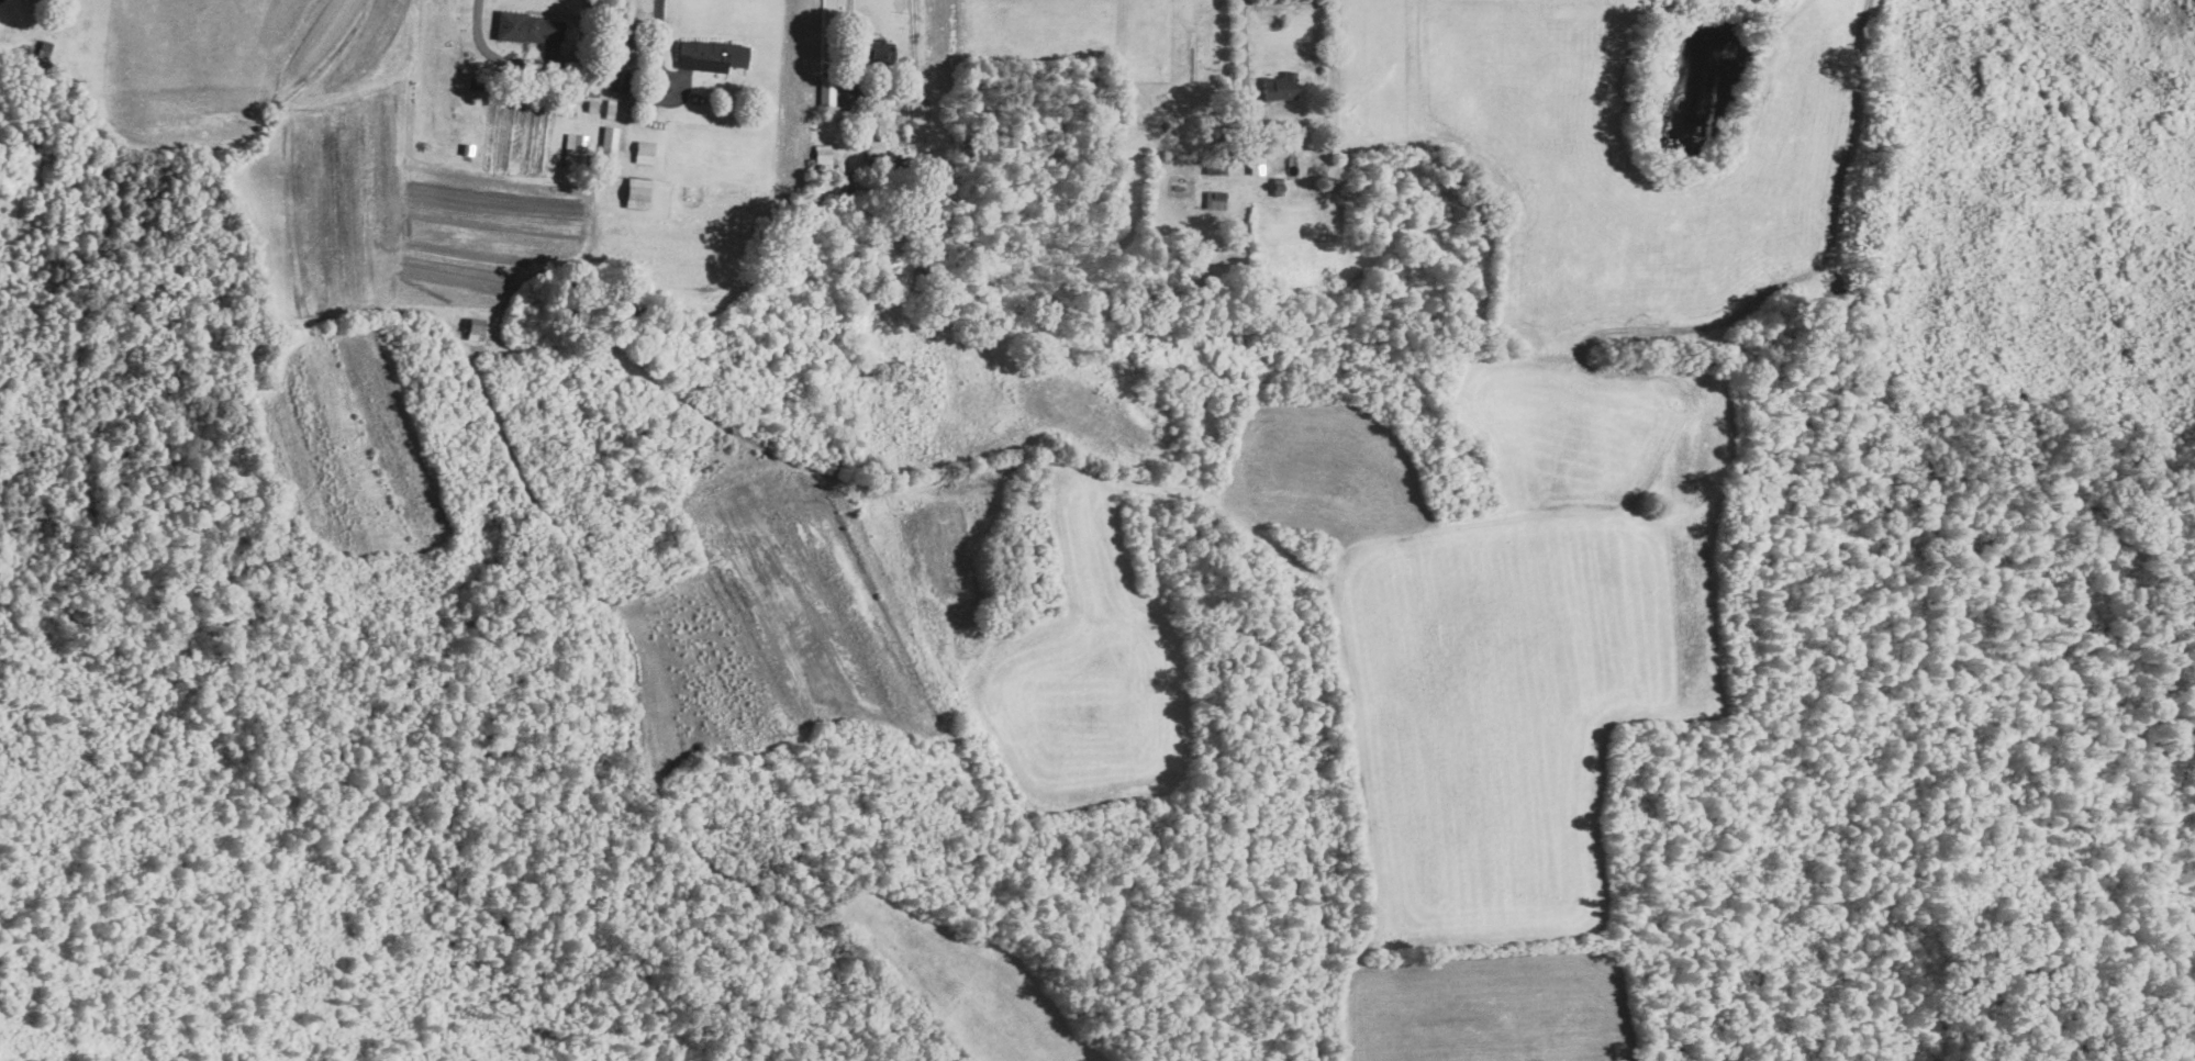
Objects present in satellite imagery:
building: (527, 27)
road: (1245, 46)
road: (654, 48)
building: (710, 55)
building: (617, 78)
building: (1279, 87)
building: (826, 91)
road: (880, 91)
building: (878, 126)
building: (608, 144)
building: (573, 148)
building: (876, 149)
building: (644, 152)
building: (636, 192)
building: (472, 328)

